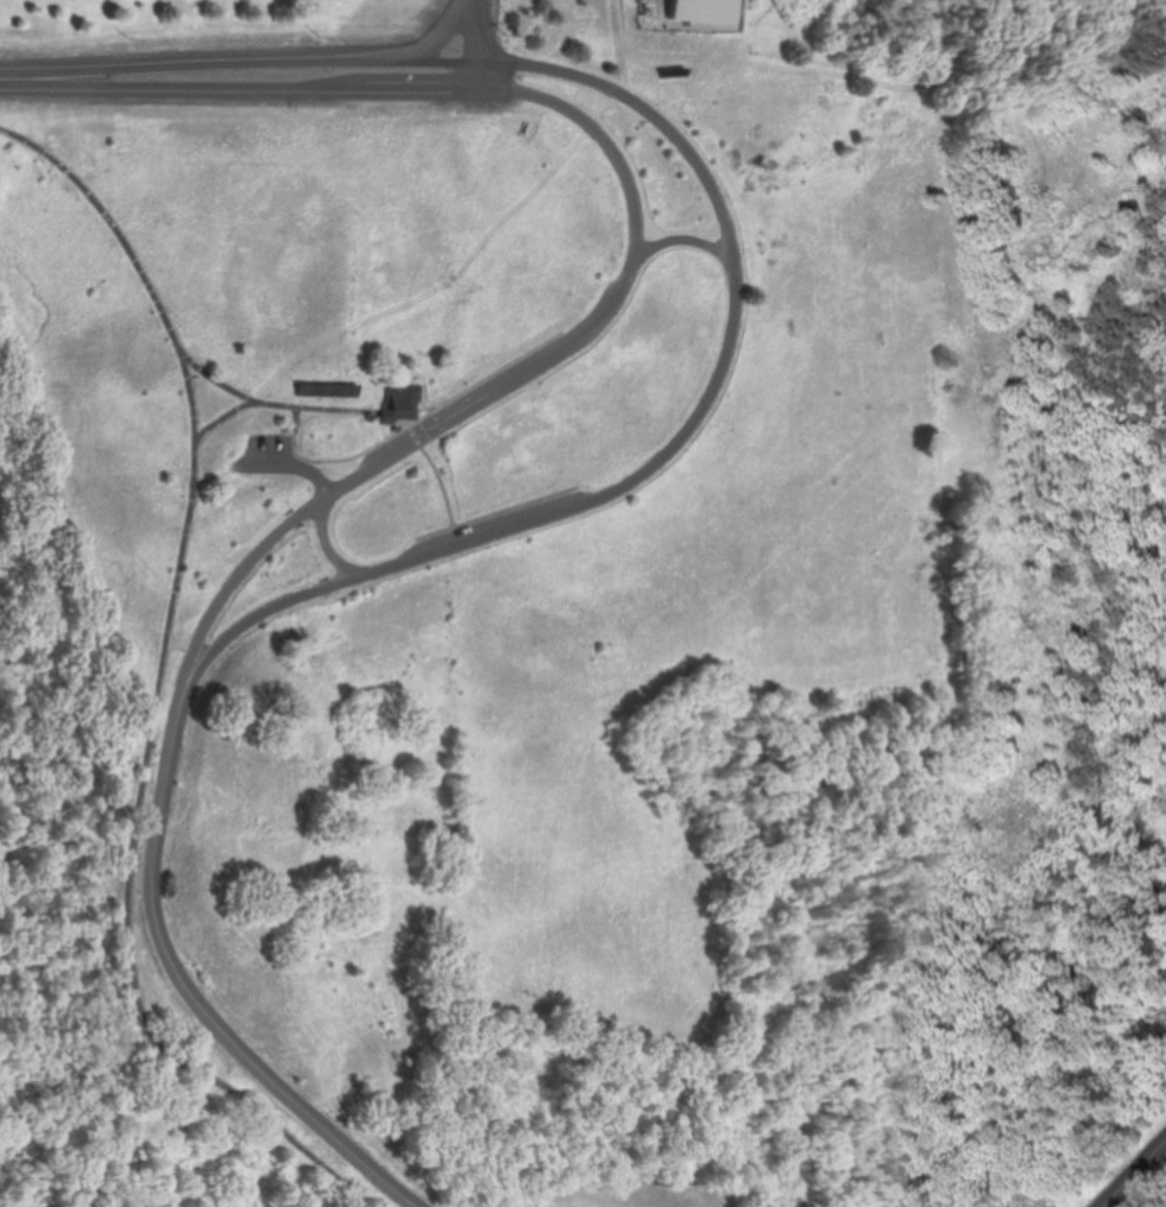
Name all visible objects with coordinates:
building: (700, 11)
park: (225, 15)
road: (479, 43)
road: (430, 44)
road: (239, 63)
road: (239, 86)
road: (685, 241)
road: (499, 254)
road: (209, 375)
road: (511, 385)
building: (326, 388)
building: (404, 406)
road: (316, 412)
road: (223, 421)
road: (417, 424)
road: (679, 445)
road: (445, 482)
road: (327, 543)
park: (593, 620)
road: (157, 685)
road: (190, 987)
road: (1134, 1174)
road: (1149, 1190)

